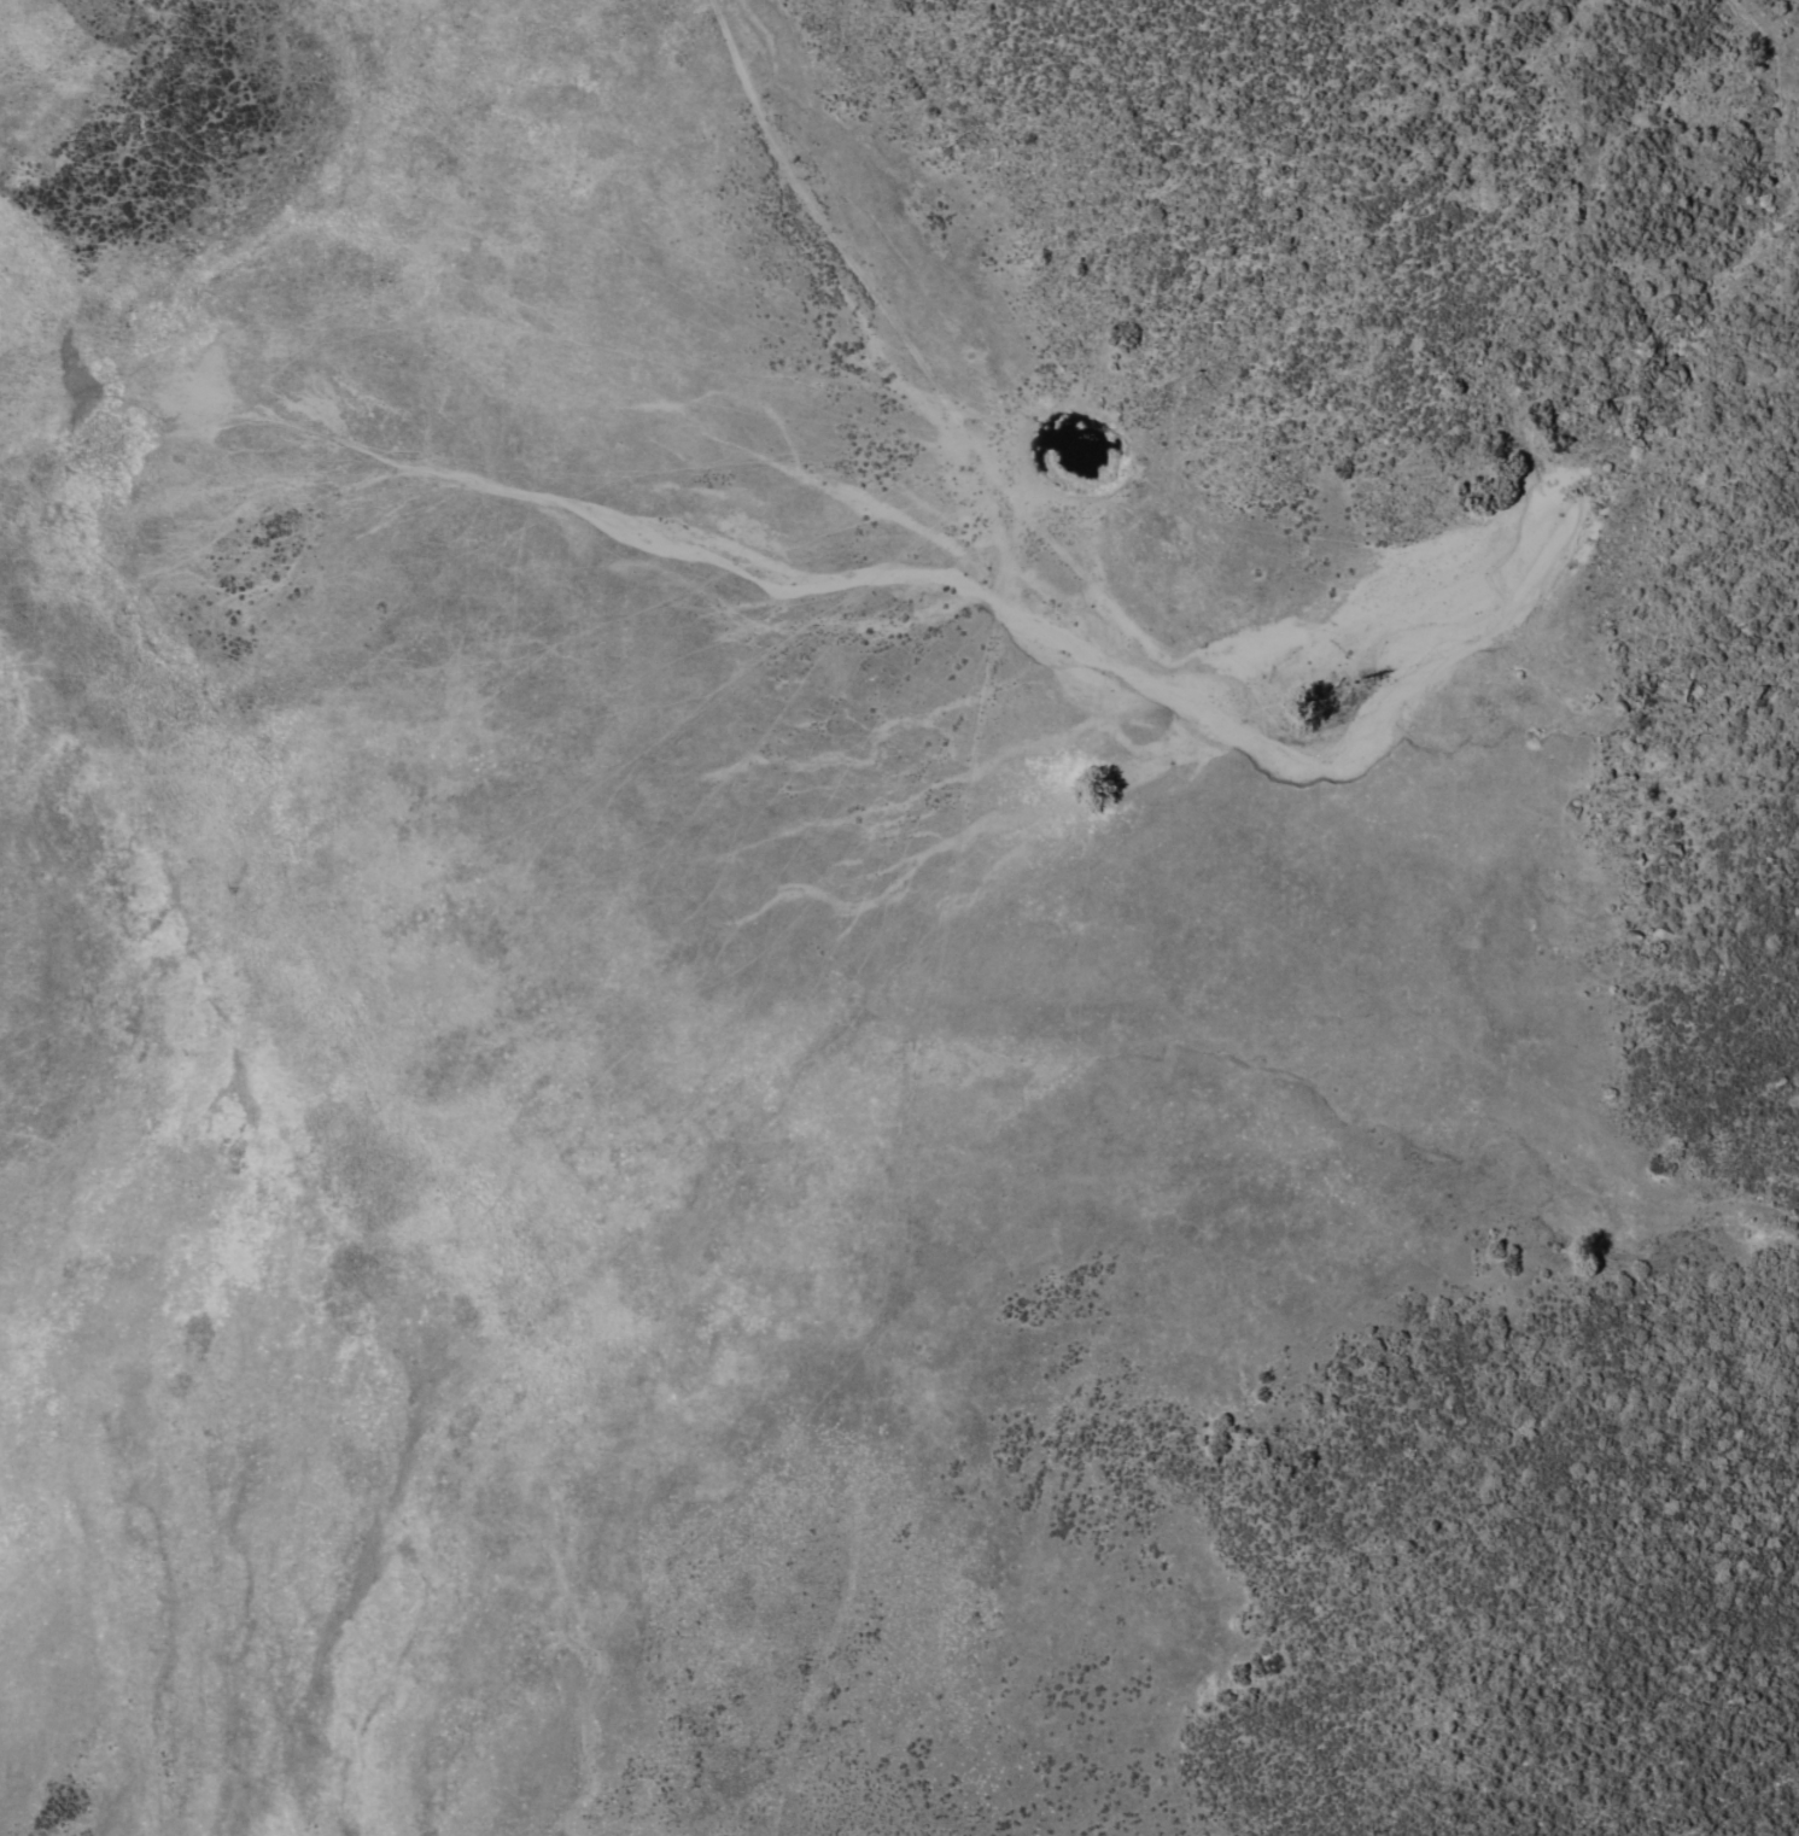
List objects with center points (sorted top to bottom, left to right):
airport runway: (122, 24)

